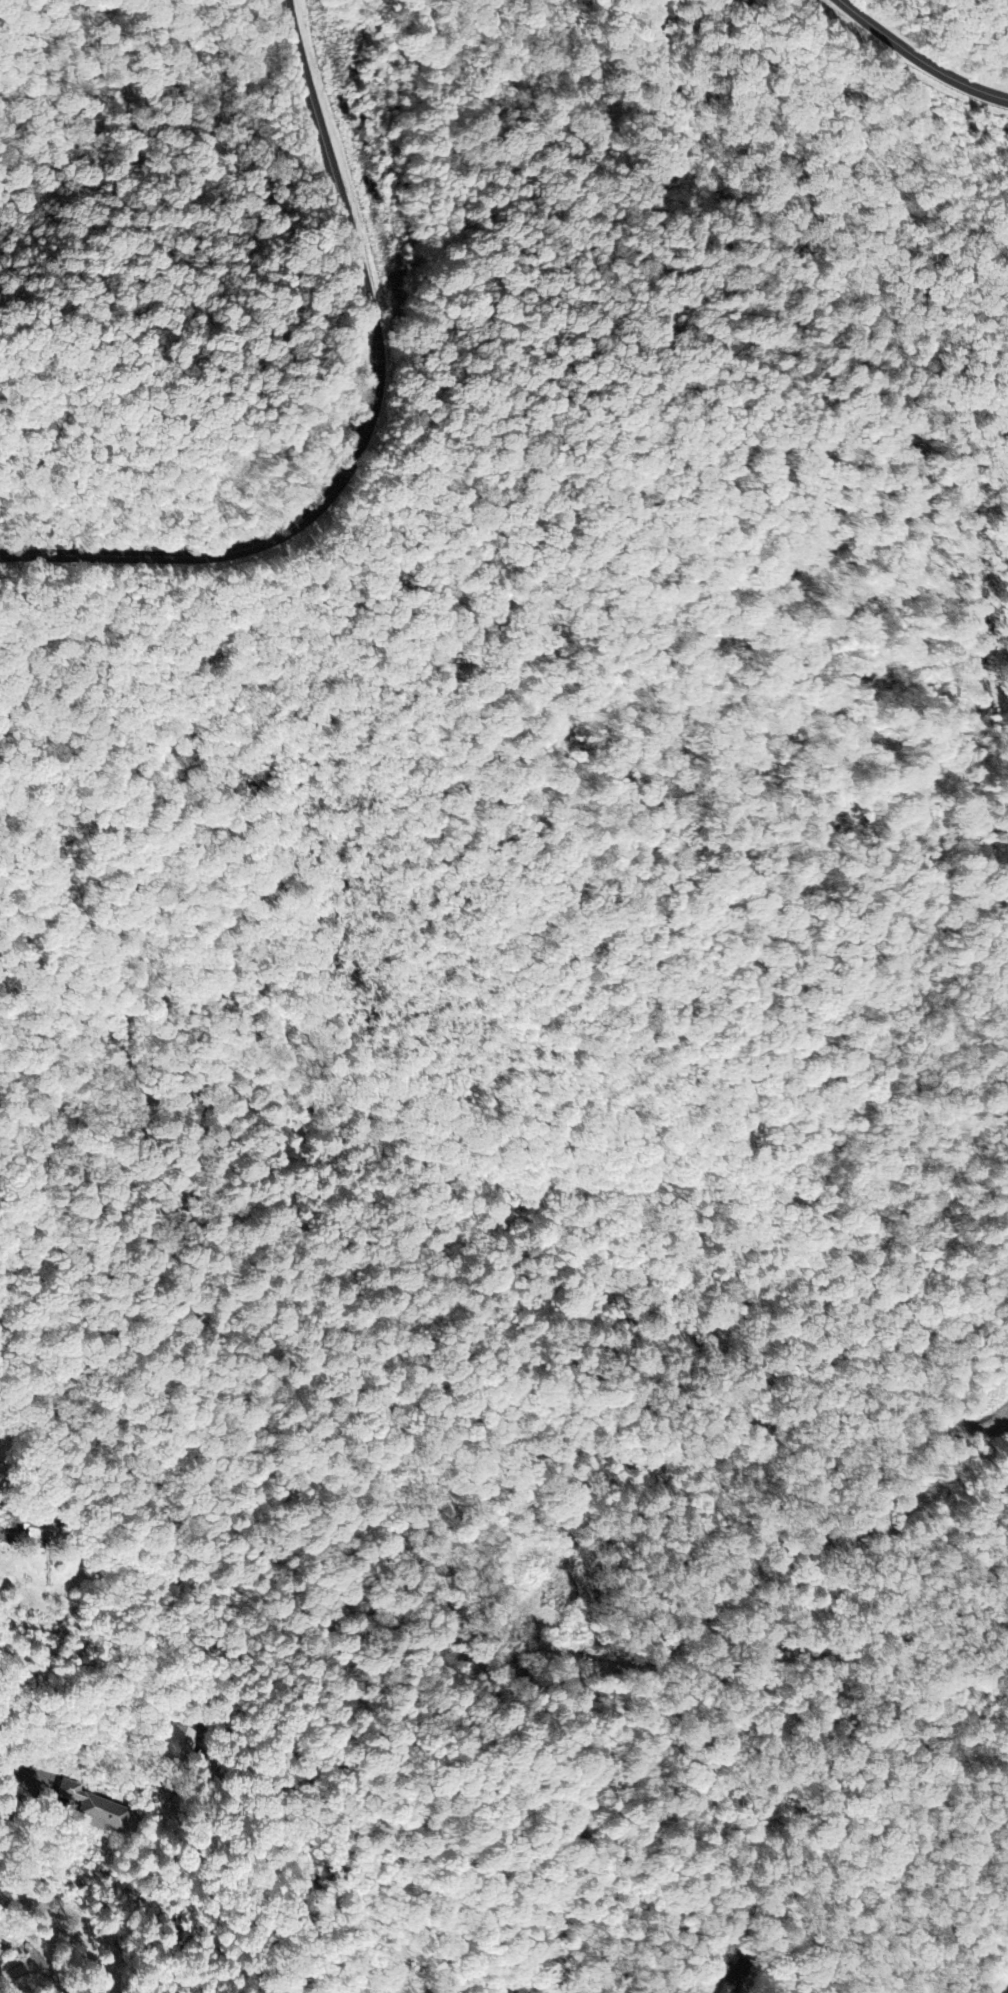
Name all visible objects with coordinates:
road: (921, 57)
road: (171, 318)
road: (371, 420)
road: (32, 1294)
road: (80, 1440)
building: (79, 1800)
road: (51, 1967)

